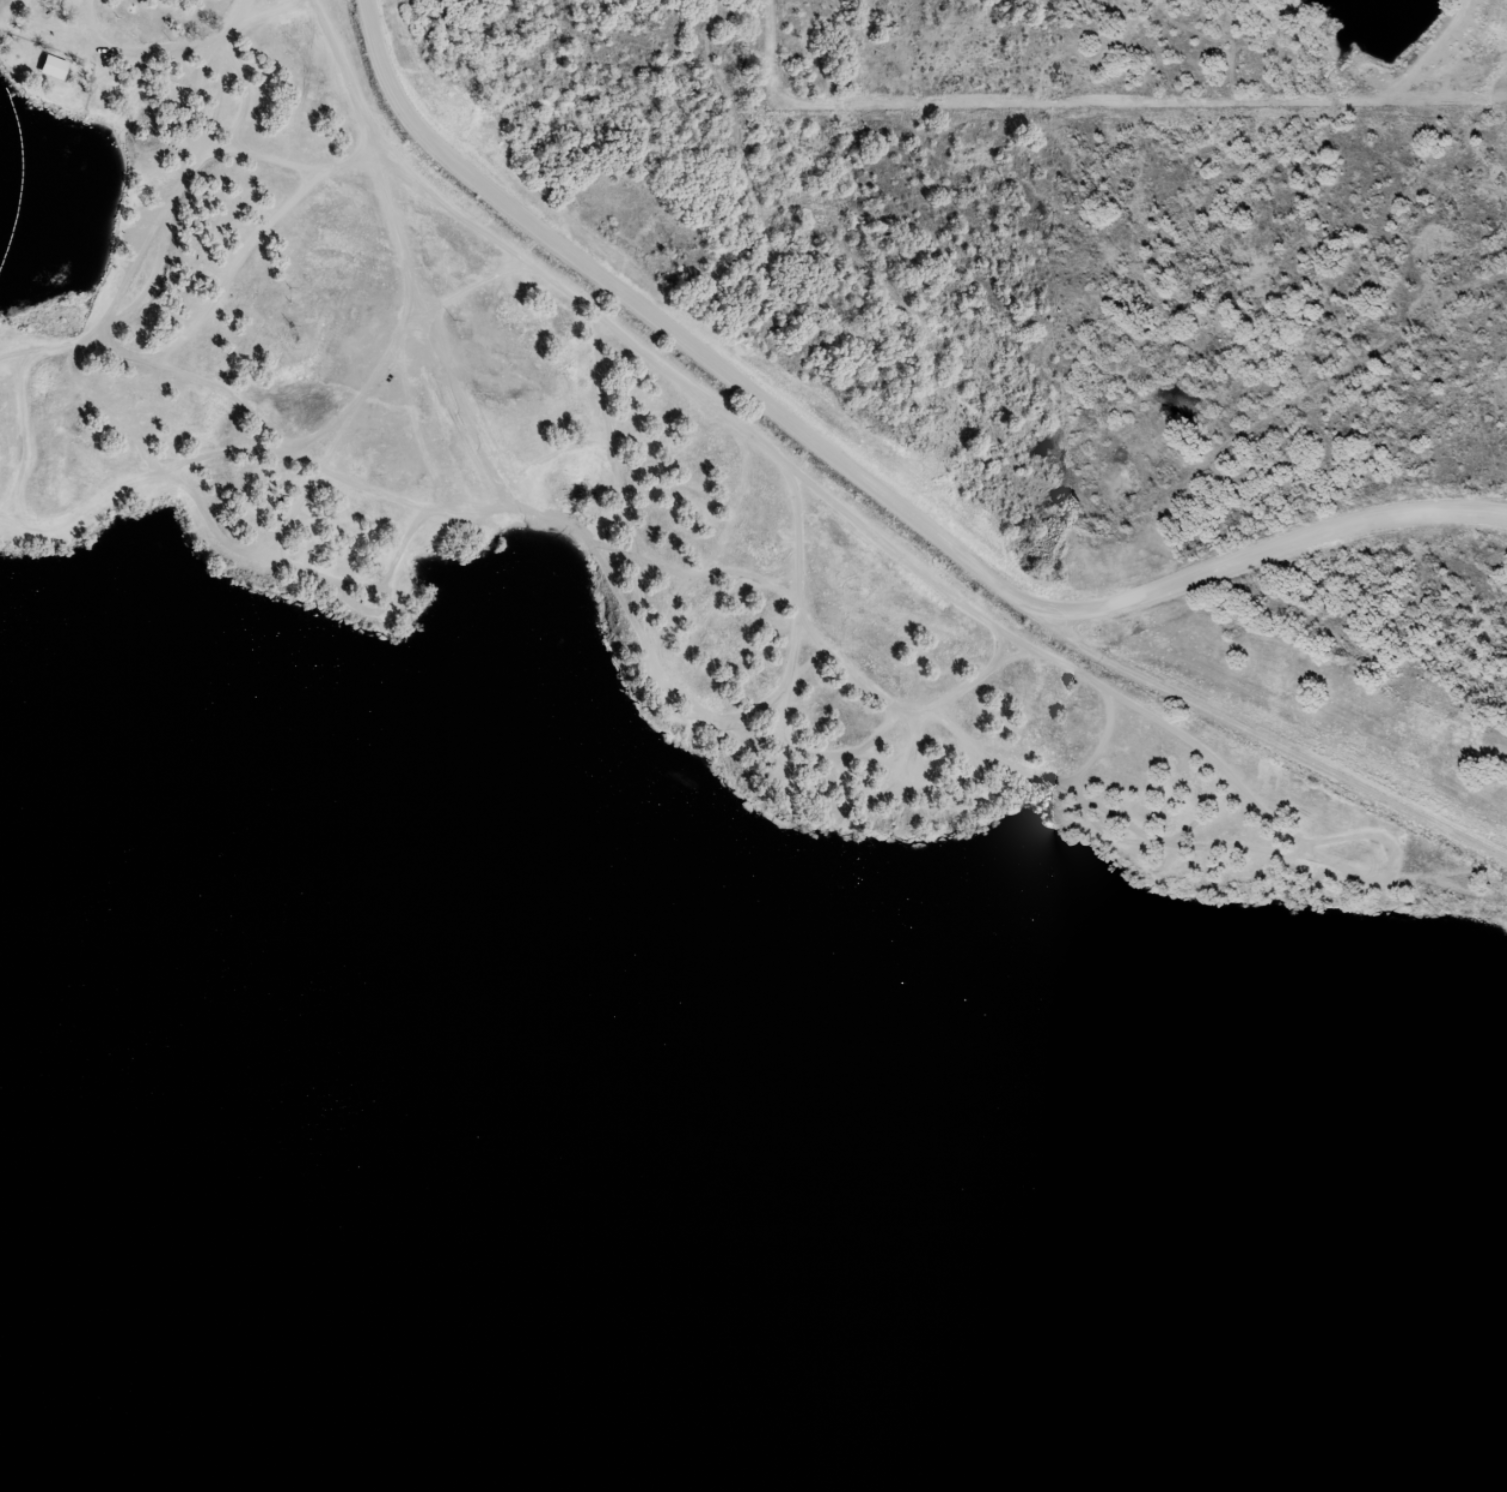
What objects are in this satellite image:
road: (133, 52)
building: (49, 75)
road: (271, 160)
road: (177, 188)
road: (249, 247)
road: (673, 335)
road: (242, 452)
road: (290, 453)
road: (818, 491)
road: (1276, 550)
road: (611, 583)
road: (1274, 741)
dam: (1332, 766)
road: (1500, 885)

